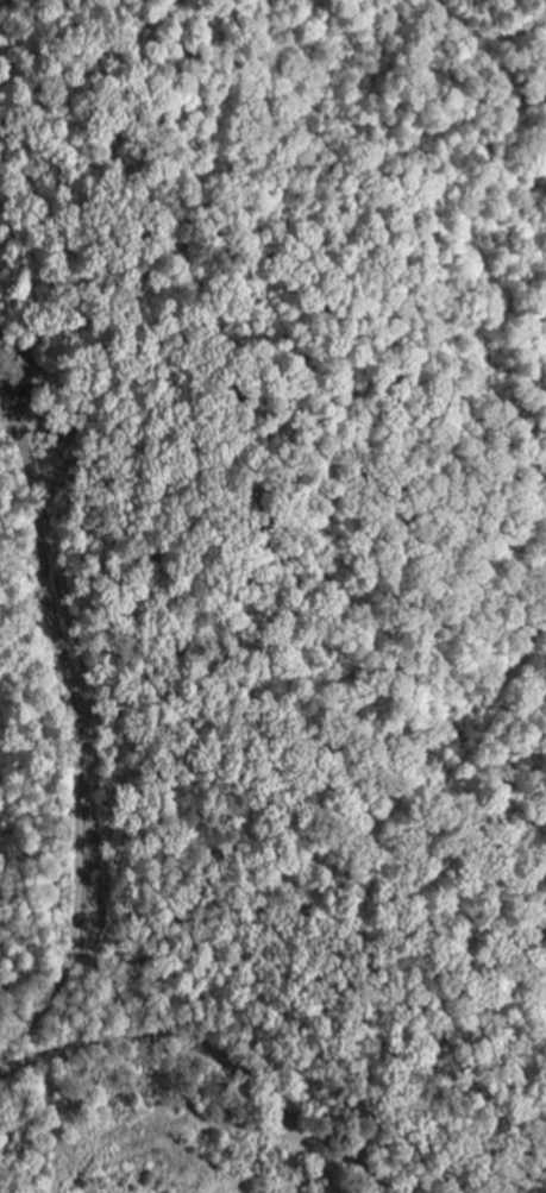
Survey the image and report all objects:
road: (208, 1047)
road: (38, 1066)
road: (362, 1167)

